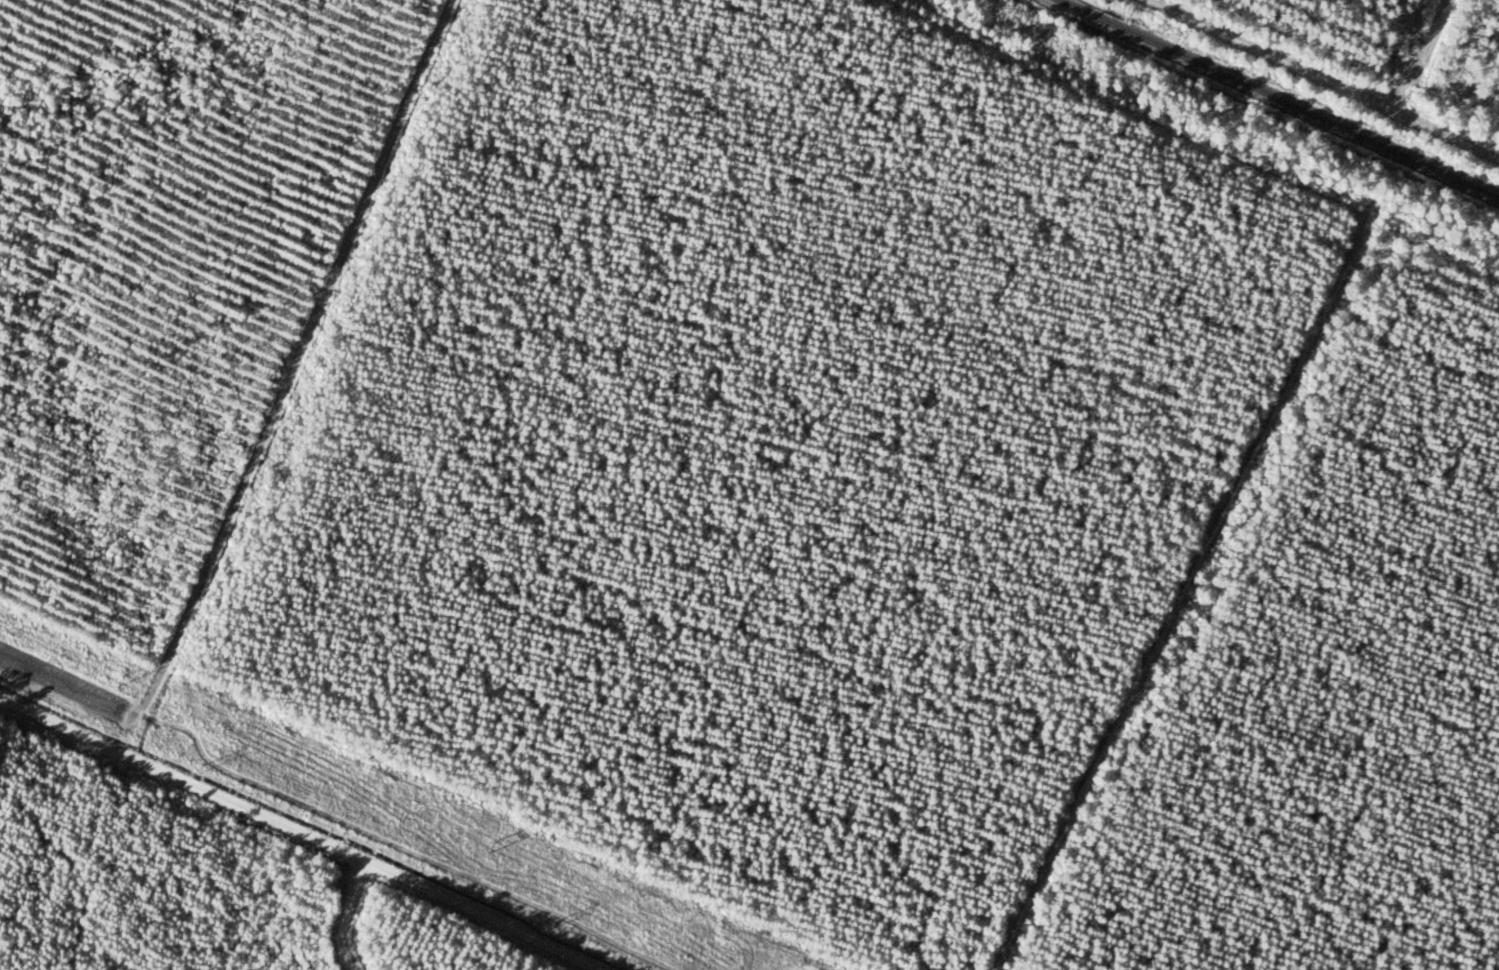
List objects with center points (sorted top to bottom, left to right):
railway: (1282, 97)
power tower: (113, 681)
power tower: (200, 771)
power tower: (480, 844)
power tower: (550, 928)

